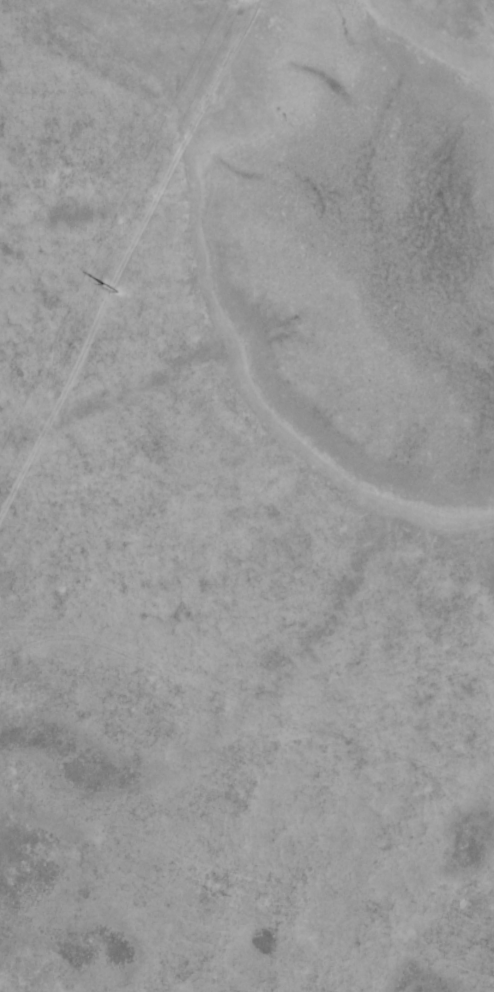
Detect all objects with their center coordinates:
power tower: (113, 285)

